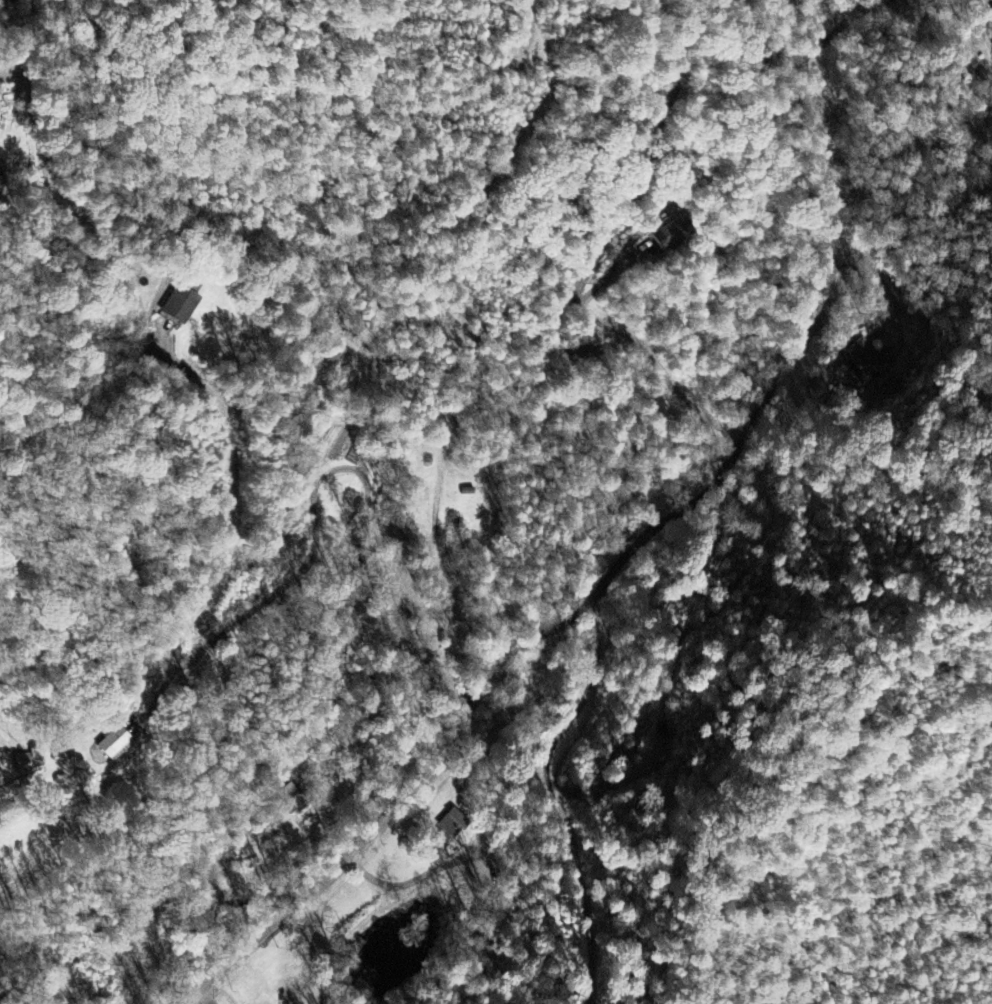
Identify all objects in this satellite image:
building: (989, 32)
building: (671, 234)
road: (598, 251)
building: (870, 360)
road: (177, 362)
road: (758, 411)
road: (326, 473)
building: (115, 745)
building: (64, 753)
building: (23, 764)
road: (574, 850)
road: (334, 870)

